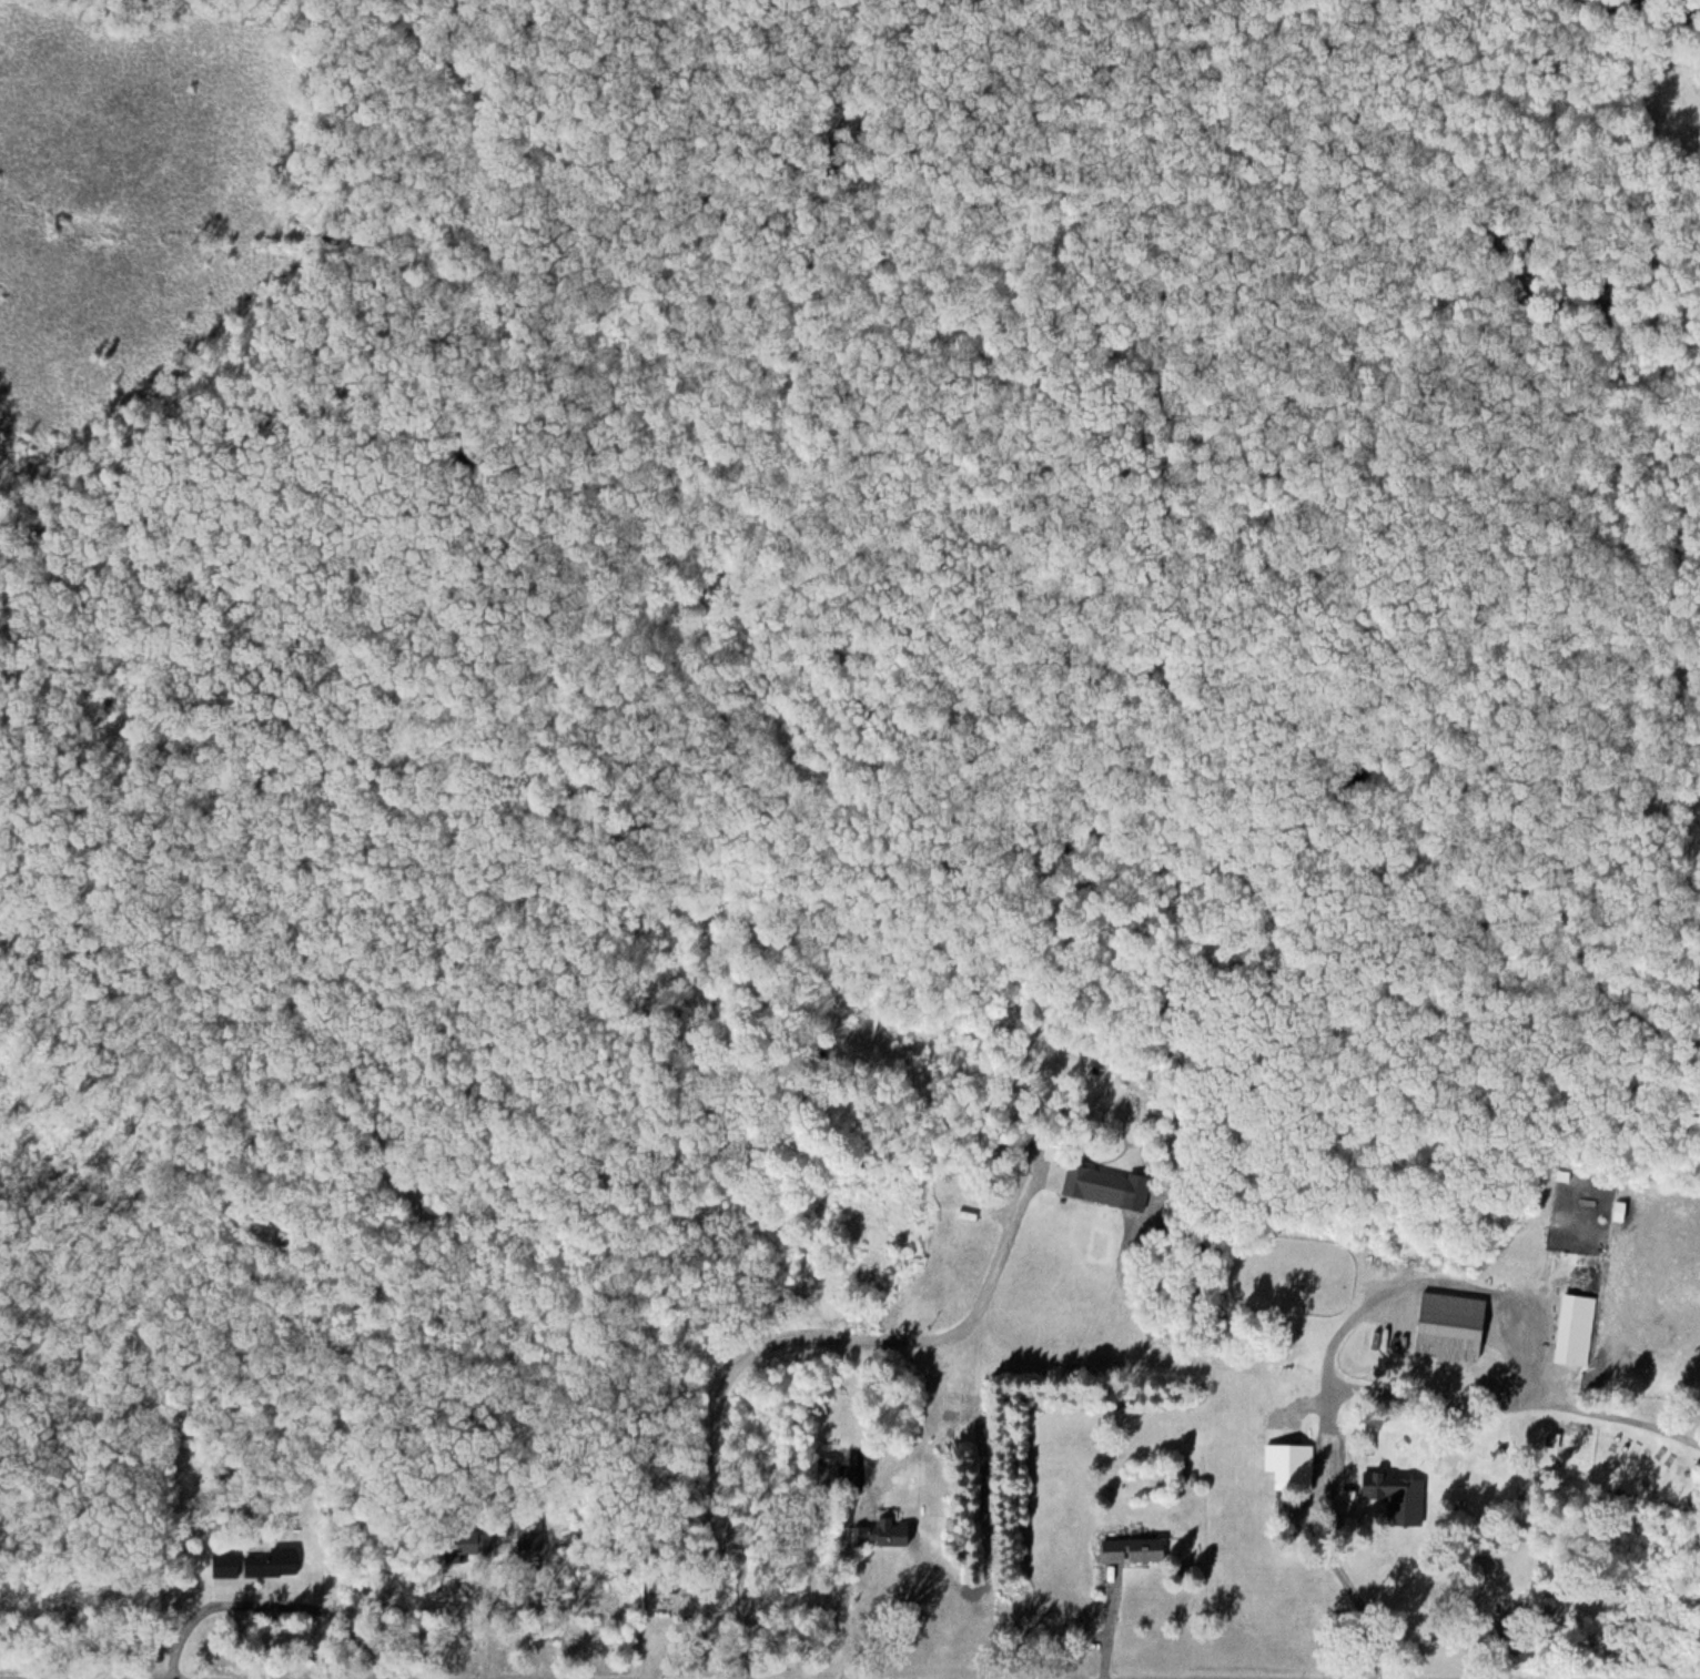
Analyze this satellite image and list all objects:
building: (1099, 1185)
building: (1621, 1211)
building: (1455, 1326)
building: (1578, 1329)
road: (778, 1344)
building: (830, 1458)
building: (1296, 1467)
building: (1400, 1497)
building: (899, 1534)
building: (476, 1544)
building: (1135, 1551)
building: (275, 1565)
building: (227, 1566)
road: (847, 1576)

